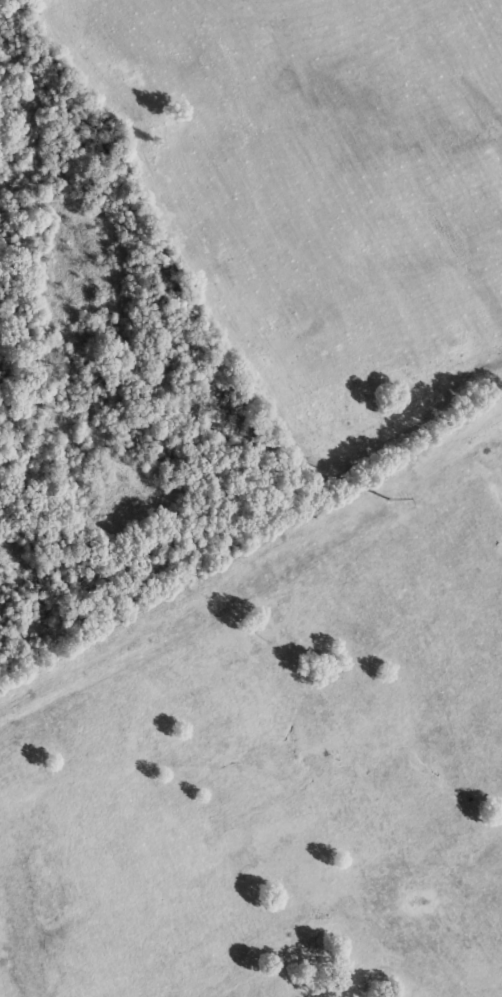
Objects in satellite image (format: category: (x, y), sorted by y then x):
power tower: (389, 499)

